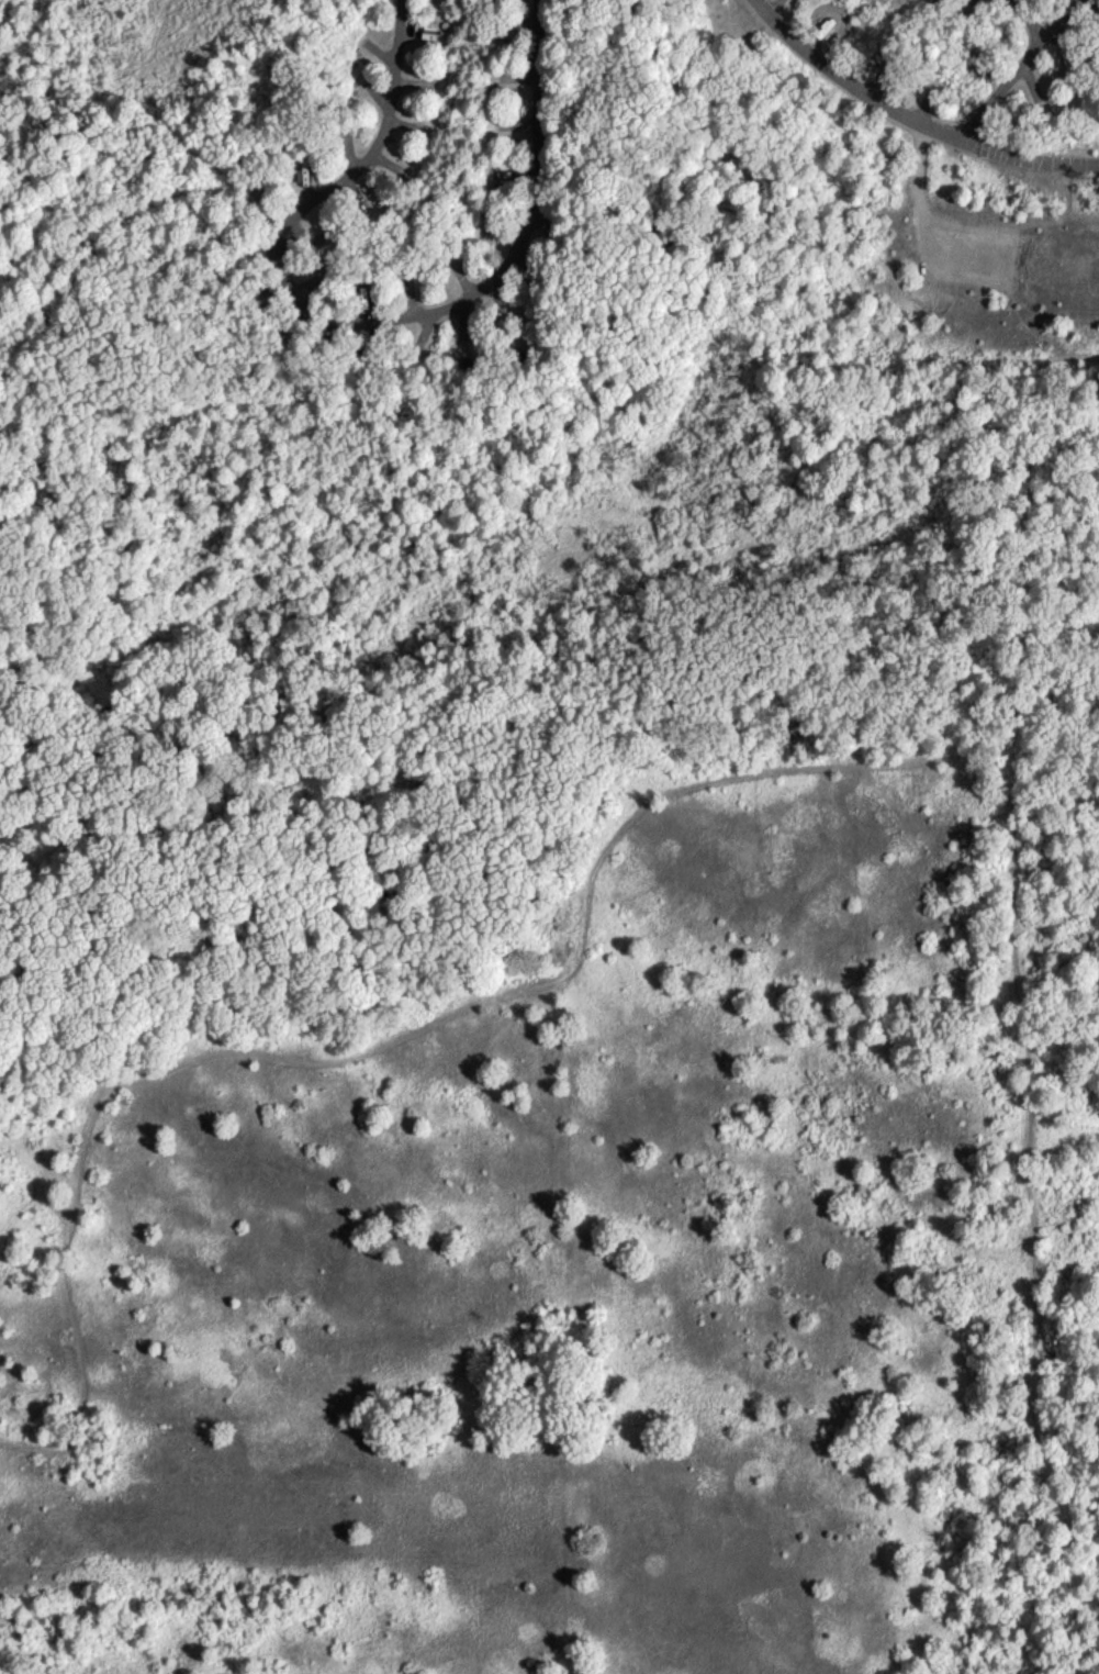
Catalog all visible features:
road: (1029, 21)
building: (371, 49)
road: (1028, 71)
road: (901, 124)
road: (371, 322)
building: (472, 370)
park: (549, 837)

